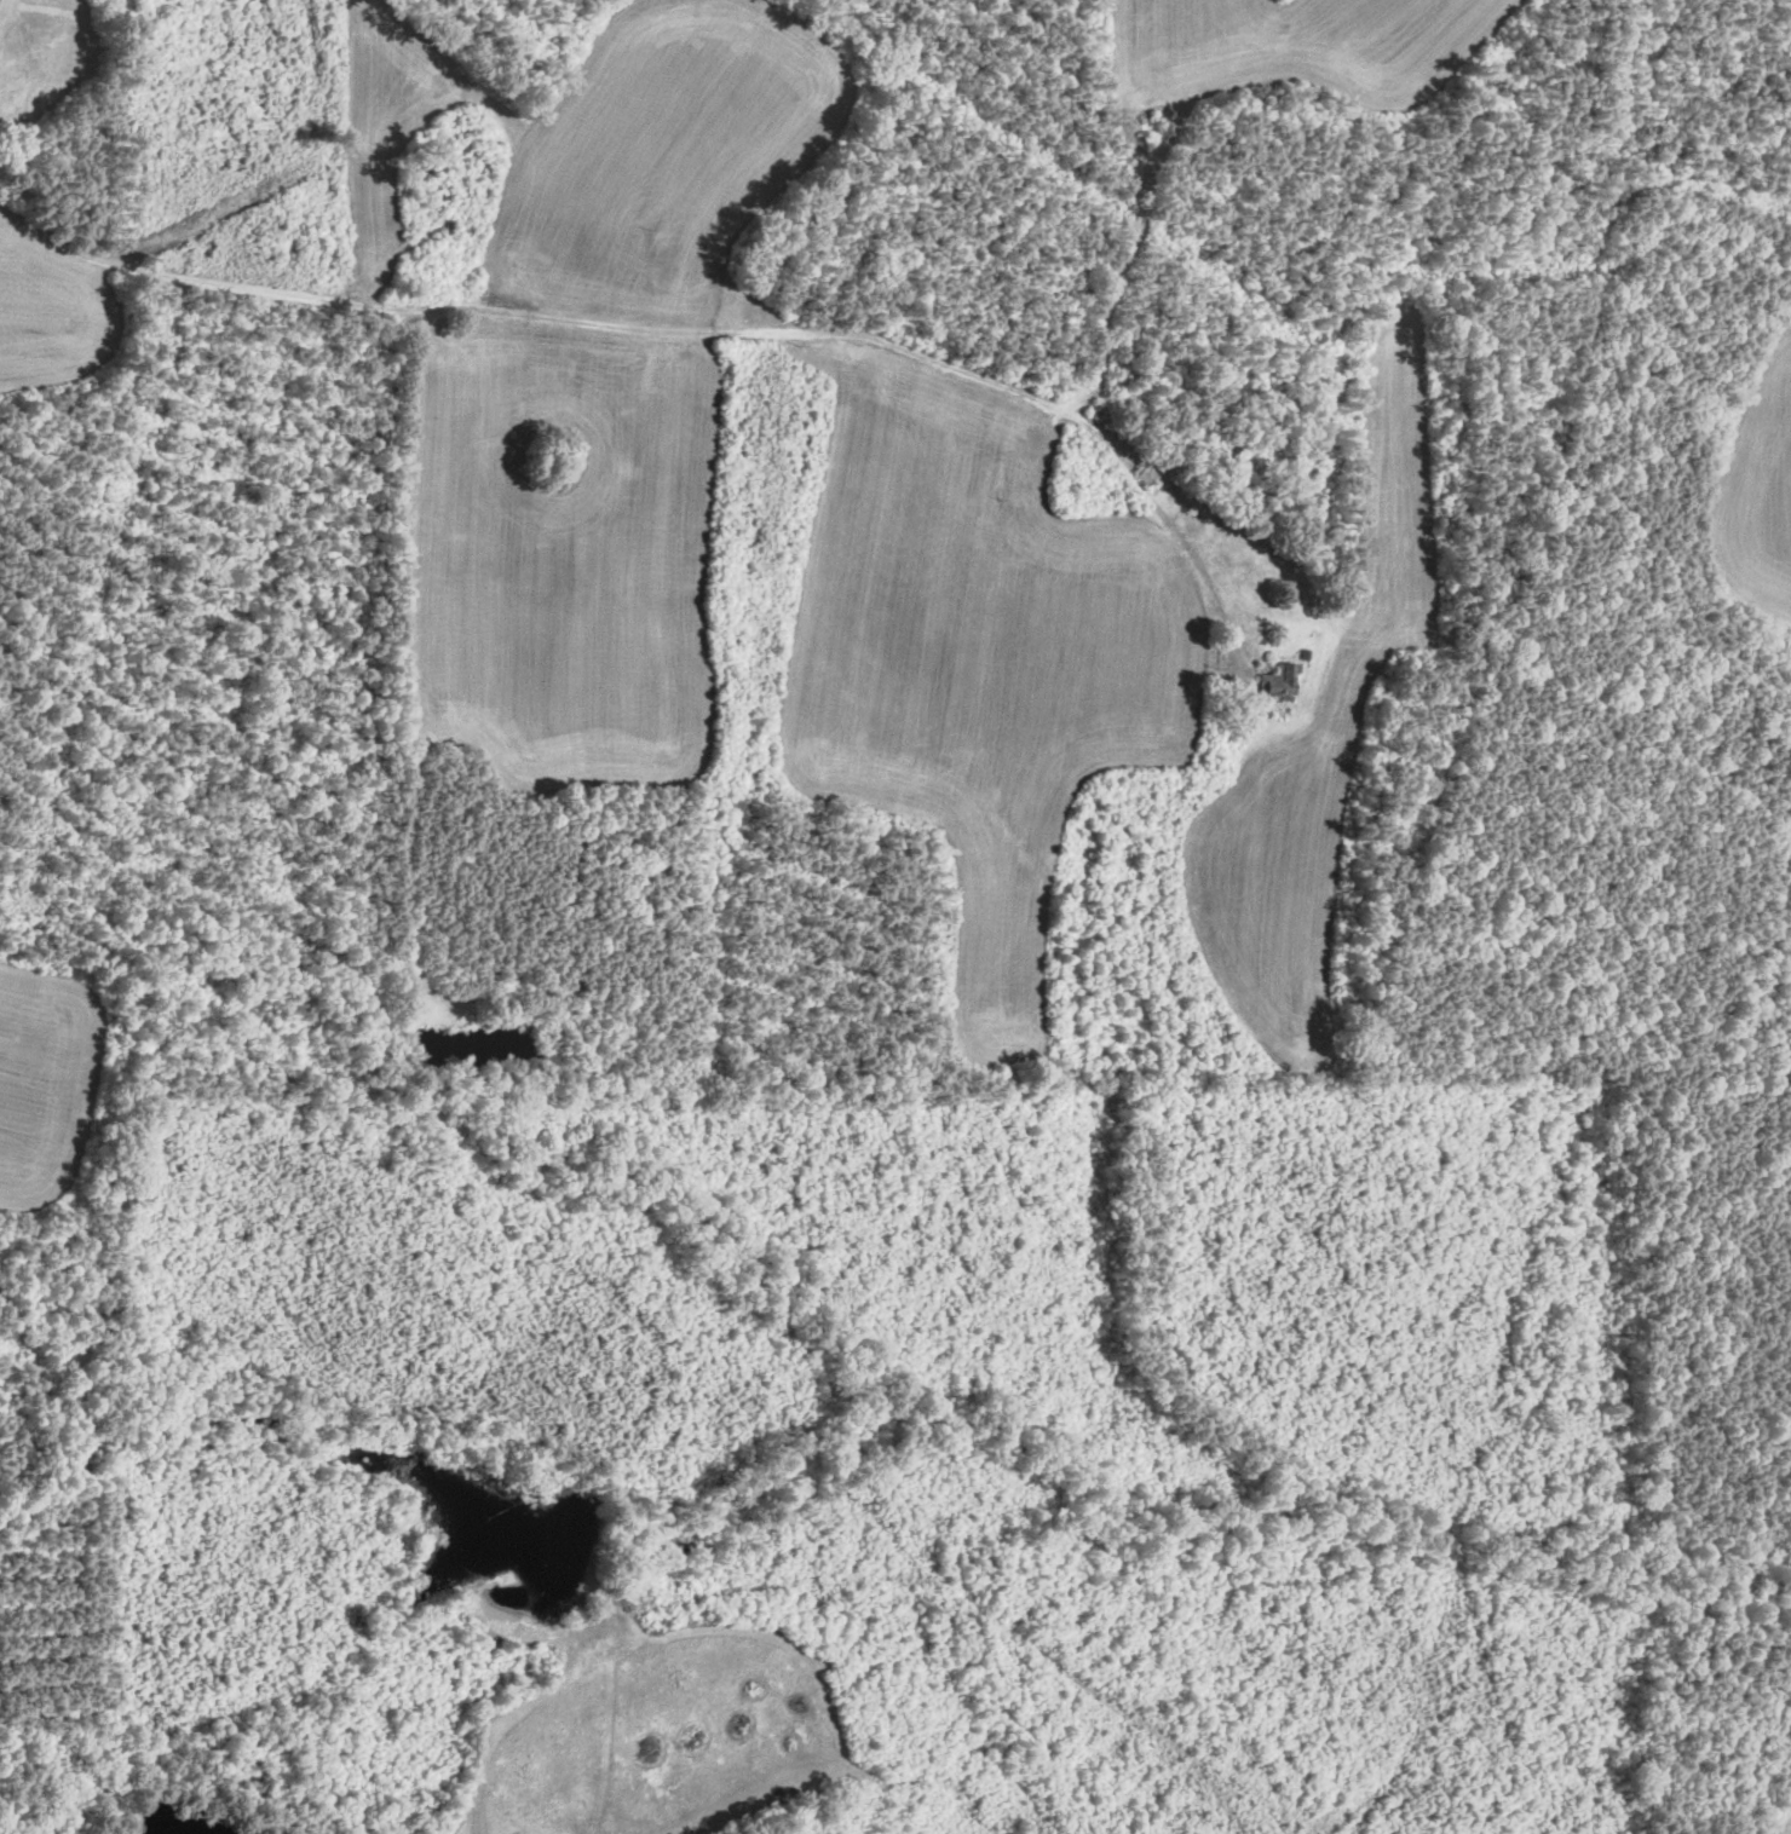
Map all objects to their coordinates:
road: (935, 406)
building: (1277, 685)

